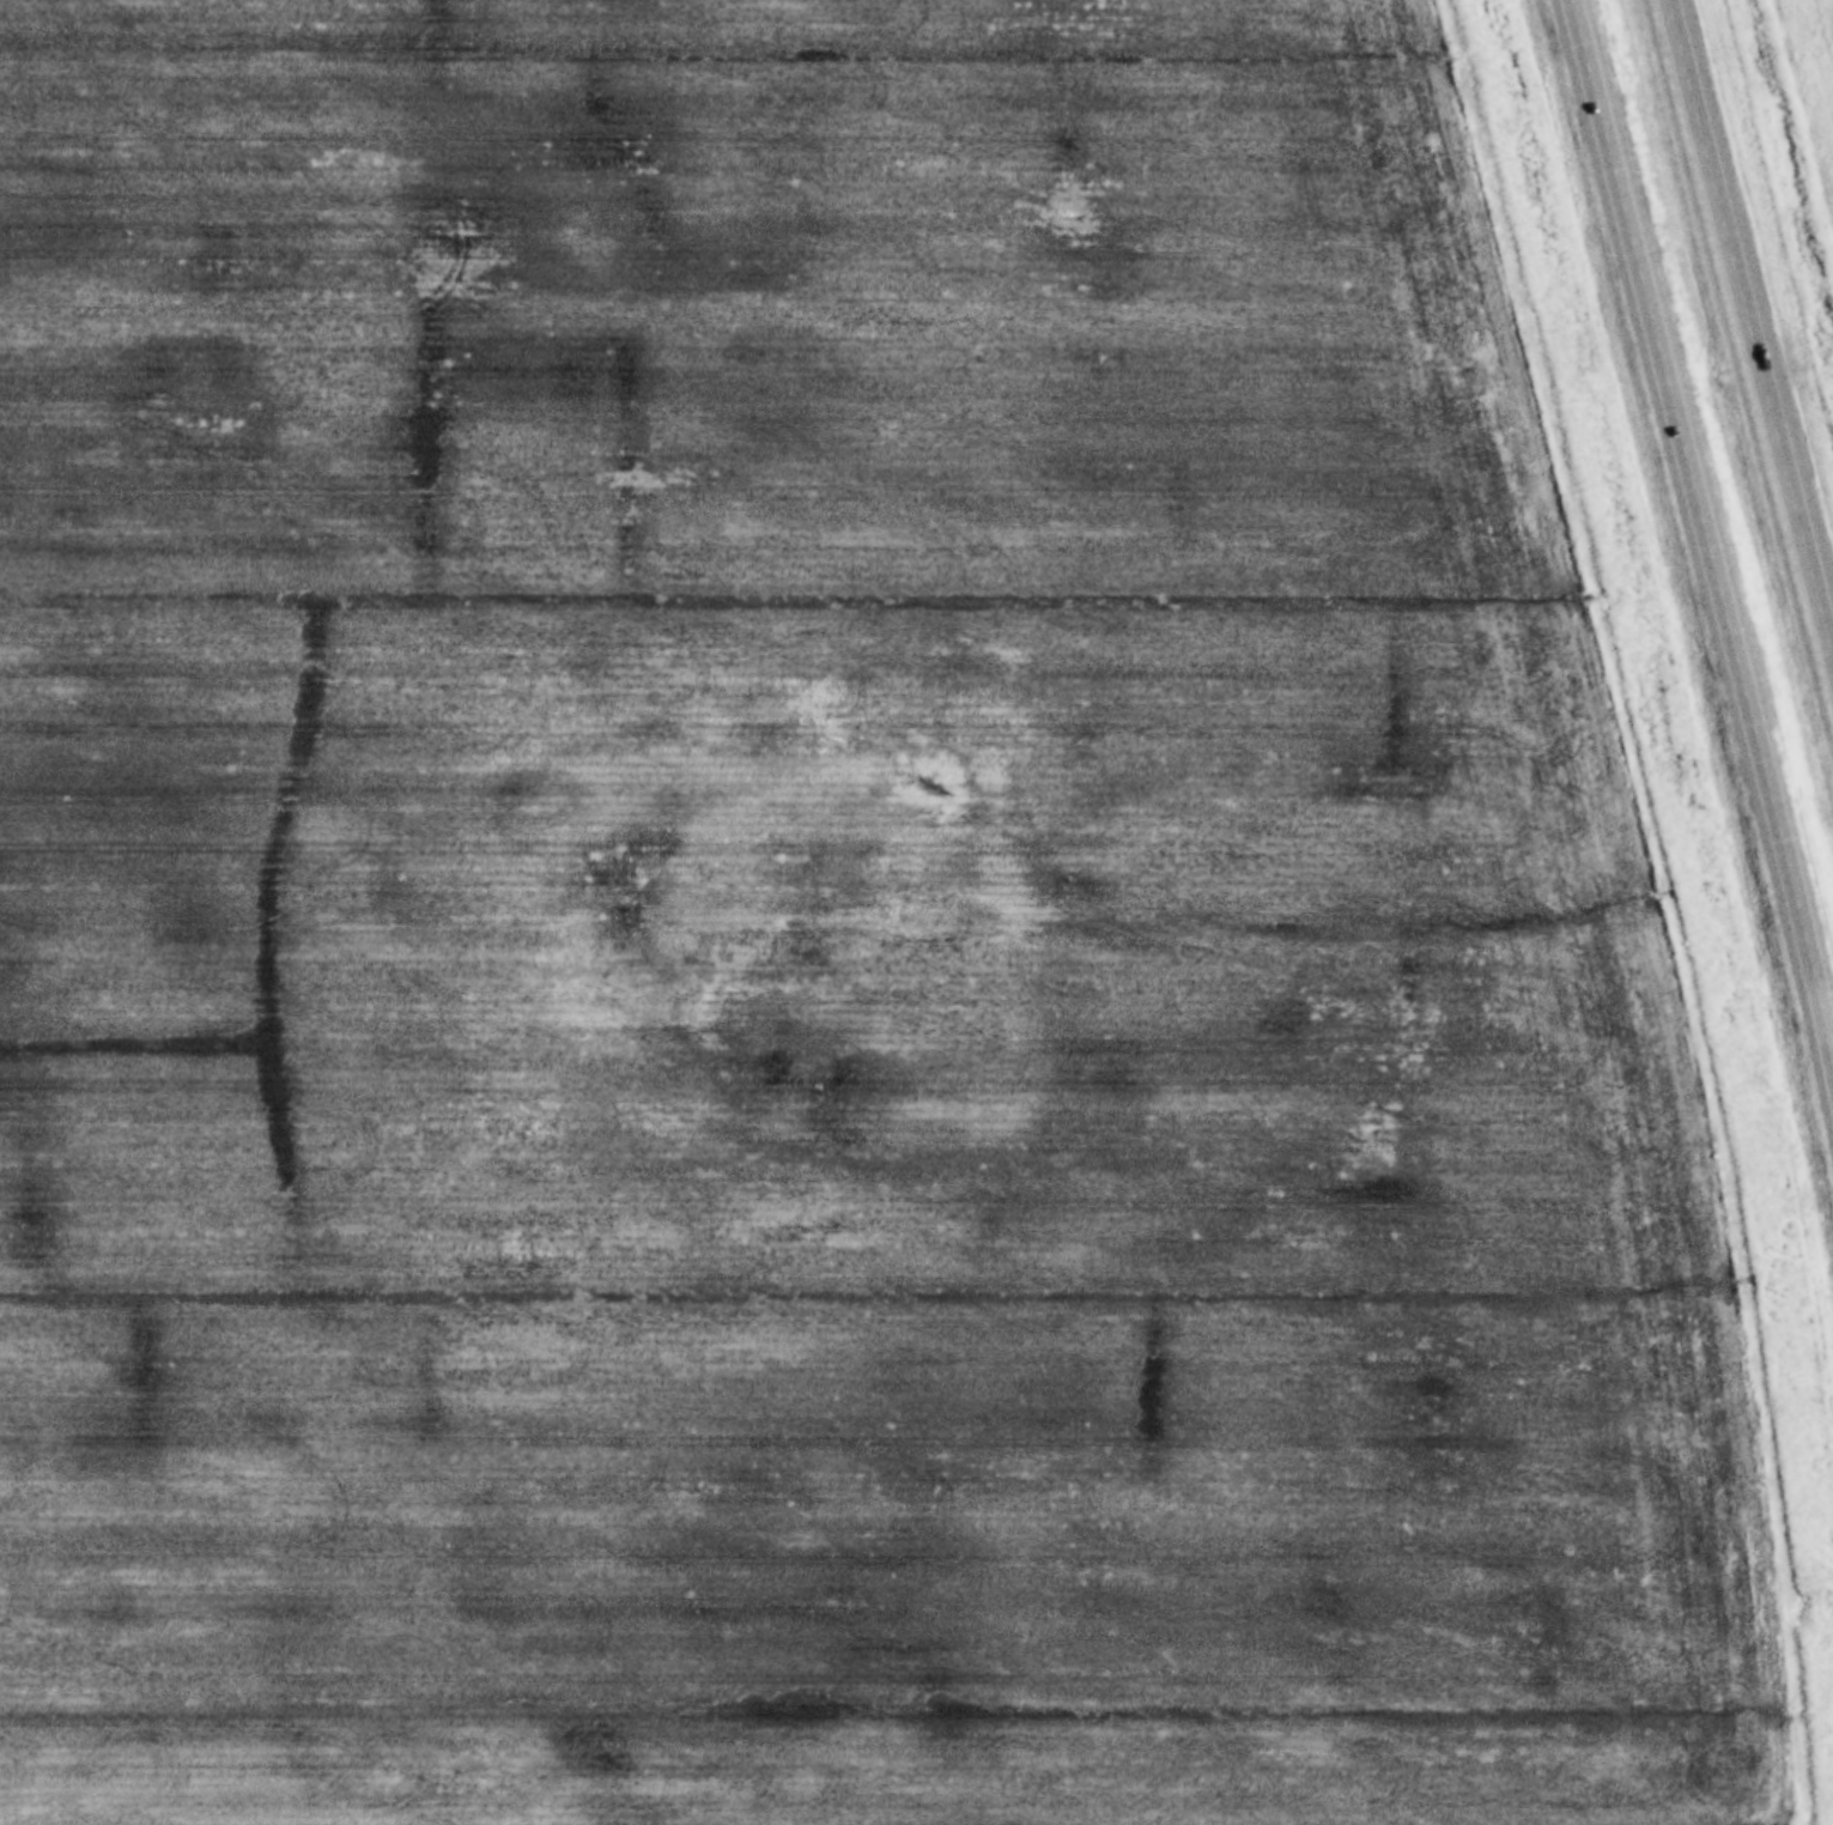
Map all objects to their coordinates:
road: (1750, 322)
road: (1710, 510)

